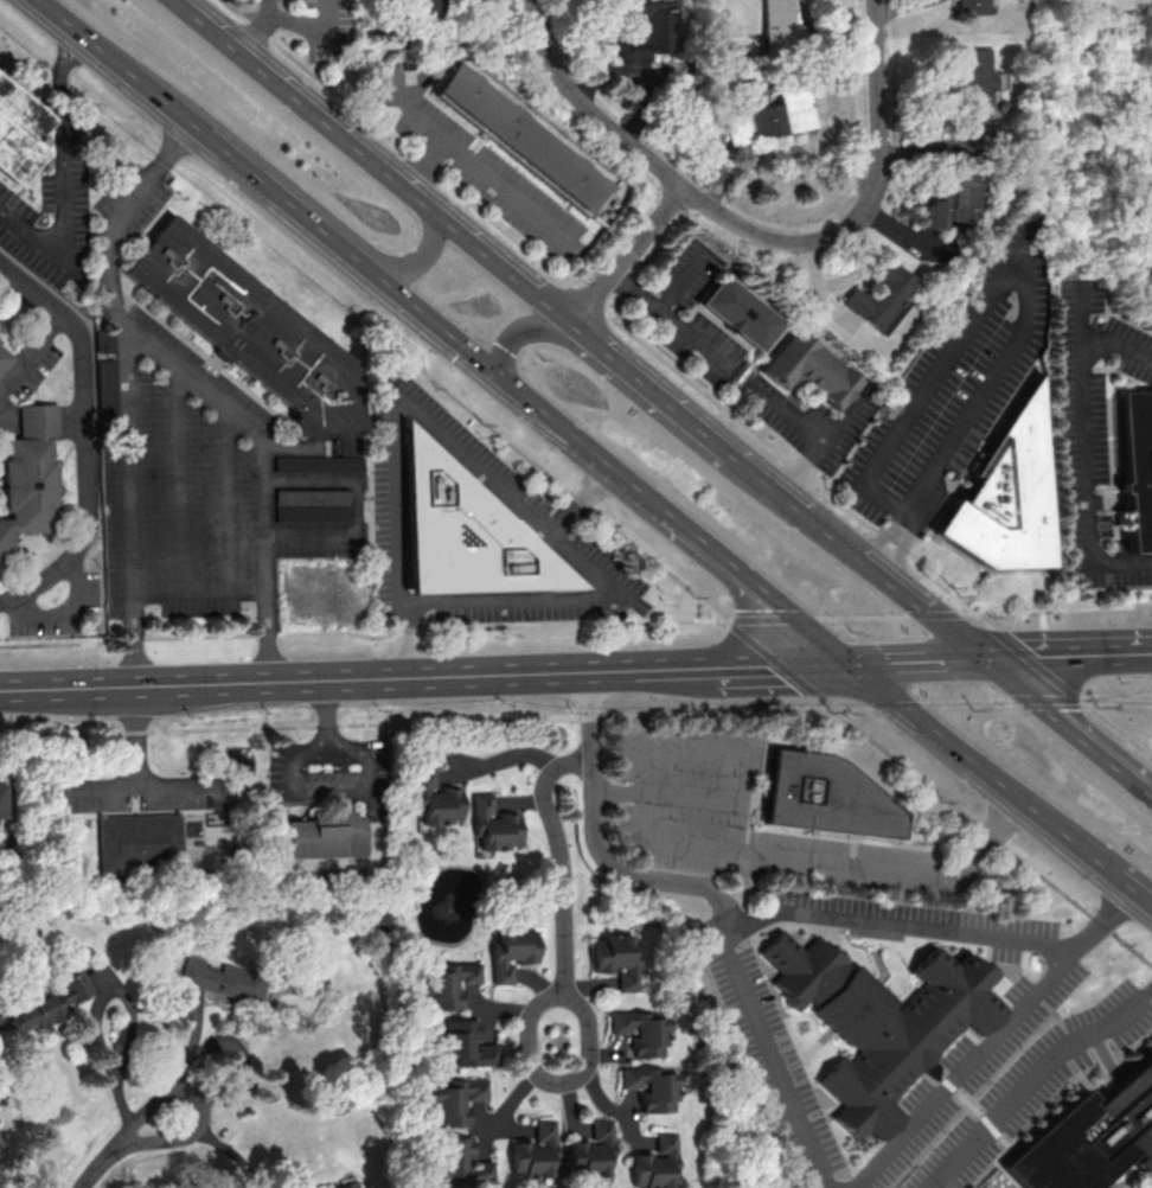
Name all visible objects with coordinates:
building: (969, 6)
building: (429, 9)
building: (779, 26)
road: (313, 27)
road: (261, 30)
building: (649, 30)
road: (115, 66)
building: (972, 87)
road: (590, 104)
building: (770, 116)
building: (19, 135)
building: (523, 142)
road: (782, 151)
road: (371, 160)
road: (480, 172)
road: (64, 192)
road: (277, 200)
building: (953, 200)
road: (863, 205)
road: (625, 254)
road: (414, 266)
road: (1026, 269)
road: (680, 280)
building: (881, 299)
road: (372, 312)
road: (604, 312)
building: (738, 314)
road: (671, 319)
building: (248, 330)
road: (519, 333)
road: (30, 349)
road: (1120, 351)
building: (1, 359)
building: (812, 371)
traffic signals: (493, 375)
road: (648, 388)
building: (104, 389)
road: (512, 389)
road: (126, 391)
road: (789, 414)
building: (34, 422)
road: (84, 436)
road: (823, 452)
road: (1094, 455)
building: (318, 464)
building: (1139, 470)
road: (261, 472)
building: (28, 484)
road: (180, 484)
building: (1006, 498)
road: (228, 502)
road: (582, 503)
building: (312, 505)
road: (538, 522)
building: (465, 534)
building: (5, 539)
road: (853, 554)
road: (728, 563)
road: (198, 594)
road: (1063, 609)
road: (68, 614)
road: (775, 614)
road: (940, 615)
road: (862, 617)
road: (366, 635)
road: (819, 637)
road: (1065, 654)
traffic signals: (980, 657)
road: (774, 658)
road: (914, 659)
traffic signals: (849, 662)
road: (775, 663)
road: (1035, 663)
road: (676, 666)
road: (324, 677)
road: (1045, 698)
road: (1116, 700)
road: (897, 701)
road: (967, 701)
road: (326, 710)
road: (865, 716)
road: (436, 721)
road: (1065, 727)
road: (1116, 727)
road: (136, 735)
road: (981, 767)
road: (137, 787)
road: (328, 788)
road: (668, 793)
building: (825, 796)
building: (434, 798)
building: (2, 799)
building: (492, 823)
road: (985, 829)
road: (593, 830)
building: (326, 833)
building: (139, 842)
road: (711, 844)
road: (559, 861)
road: (1133, 888)
building: (375, 921)
road: (922, 925)
road: (879, 935)
building: (511, 951)
building: (616, 958)
building: (222, 972)
road: (882, 978)
building: (446, 984)
road: (1041, 999)
building: (47, 1004)
road: (97, 1011)
building: (878, 1021)
building: (641, 1031)
parking lot: (767, 1037)
road: (975, 1037)
building: (463, 1043)
road: (587, 1043)
road: (809, 1055)
road: (1107, 1056)
road: (774, 1059)
road: (936, 1068)
road: (973, 1069)
road: (1035, 1081)
road: (953, 1085)
parking lot: (1032, 1085)
building: (652, 1087)
building: (453, 1100)
road: (972, 1103)
road: (821, 1113)
road: (993, 1126)
building: (1089, 1136)
road: (122, 1144)
road: (219, 1148)
building: (533, 1150)
building: (590, 1150)
building: (459, 1161)
road: (997, 1162)
building: (654, 1163)
building: (344, 1184)

